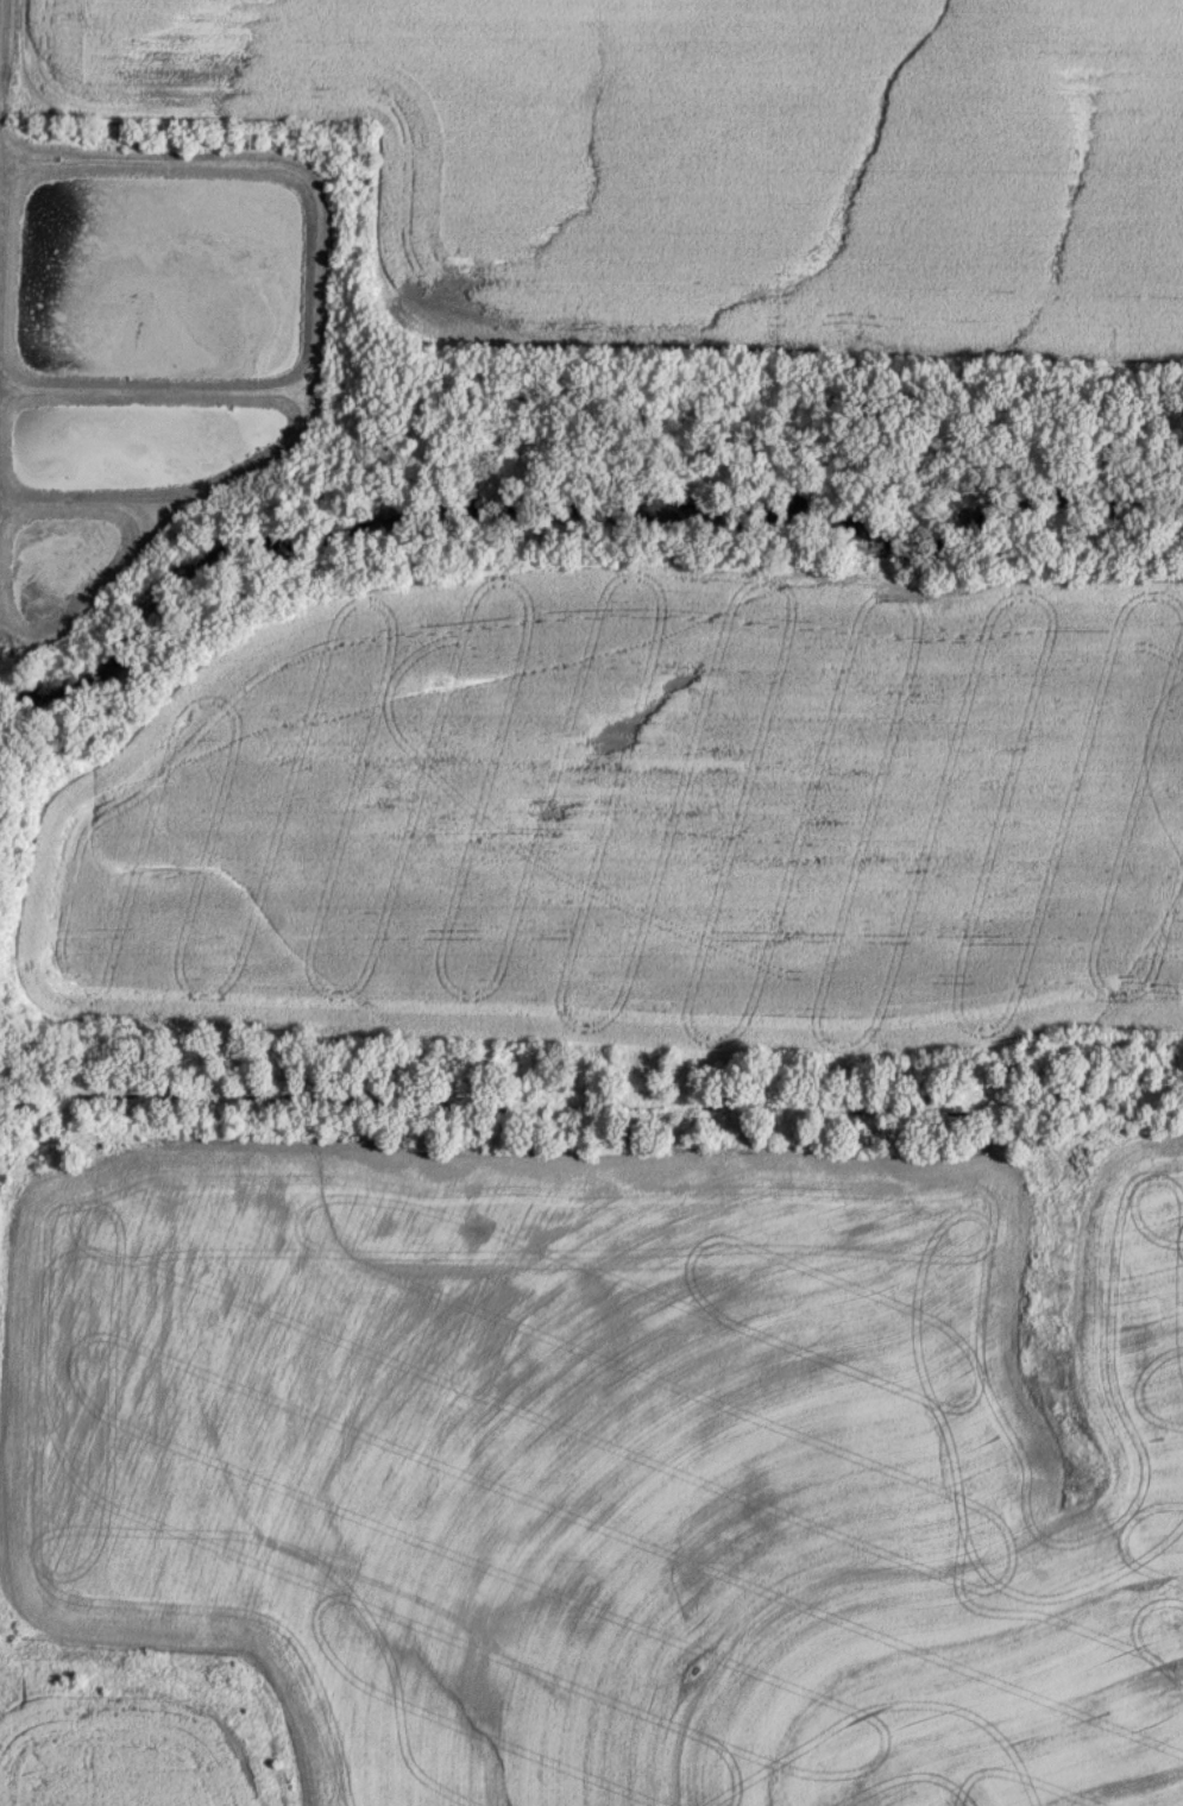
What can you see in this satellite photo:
road: (1, 30)

